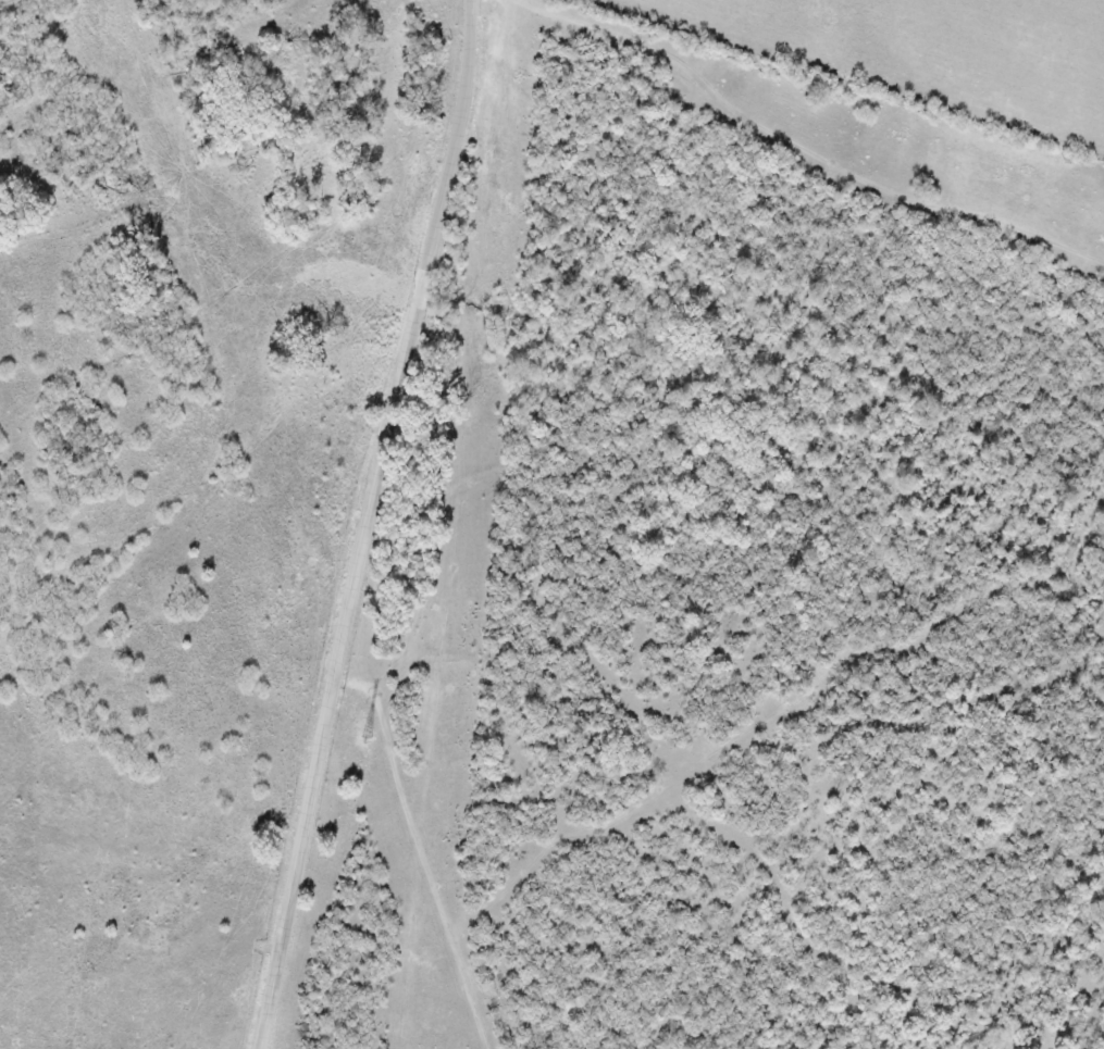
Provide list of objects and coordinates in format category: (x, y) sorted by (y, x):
road: (373, 524)
power tower: (367, 741)

